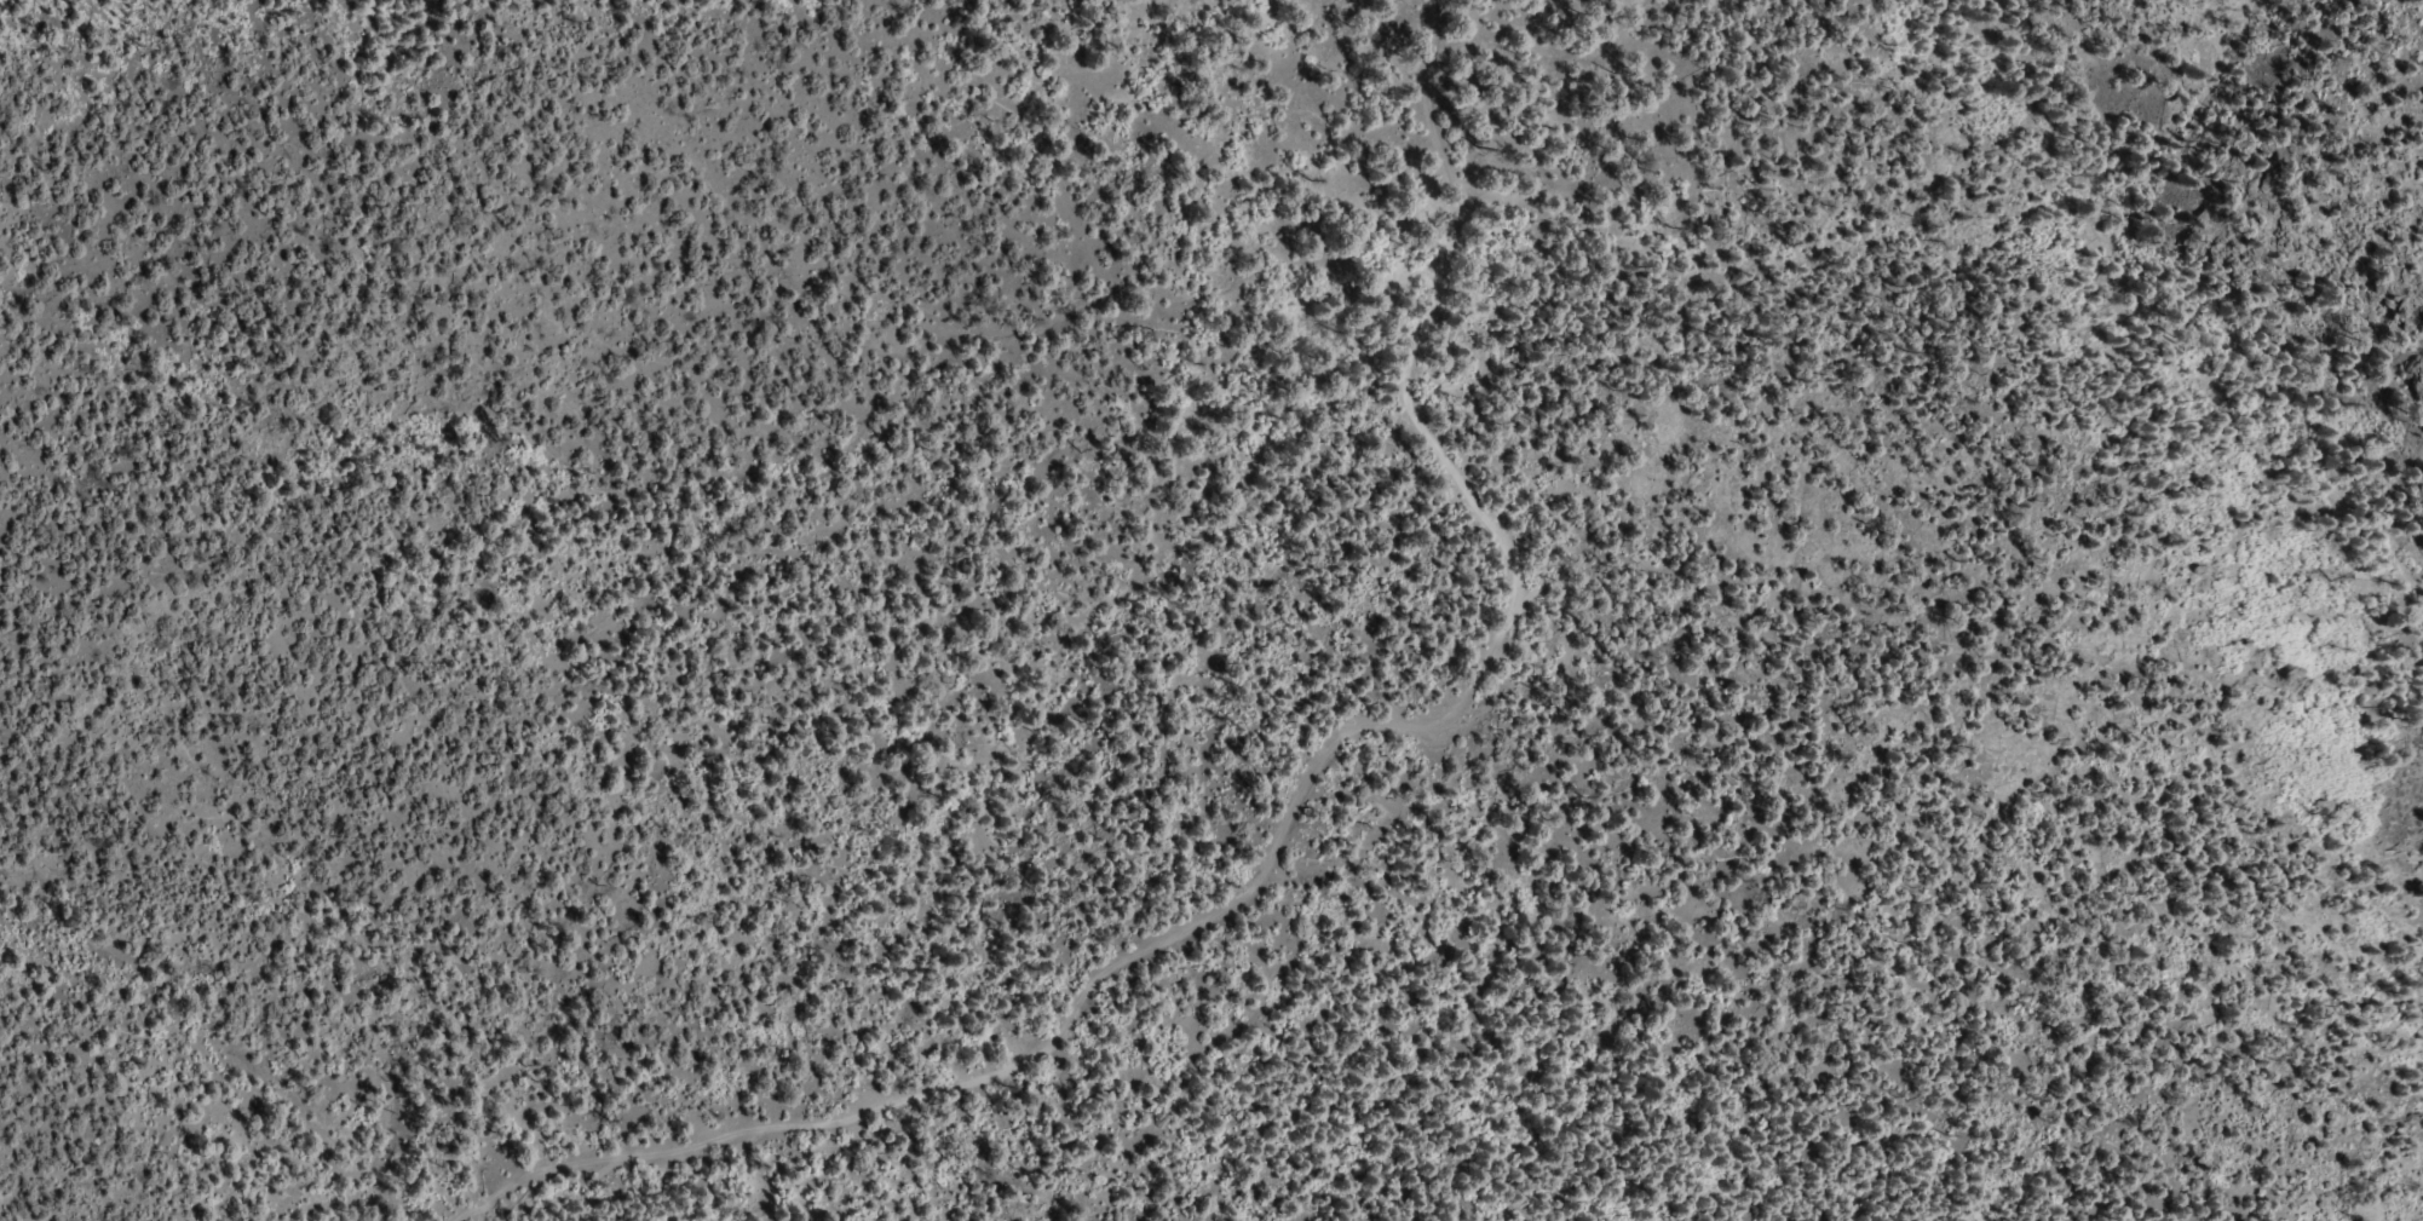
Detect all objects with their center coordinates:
road: (2185, 271)
road: (1294, 806)

